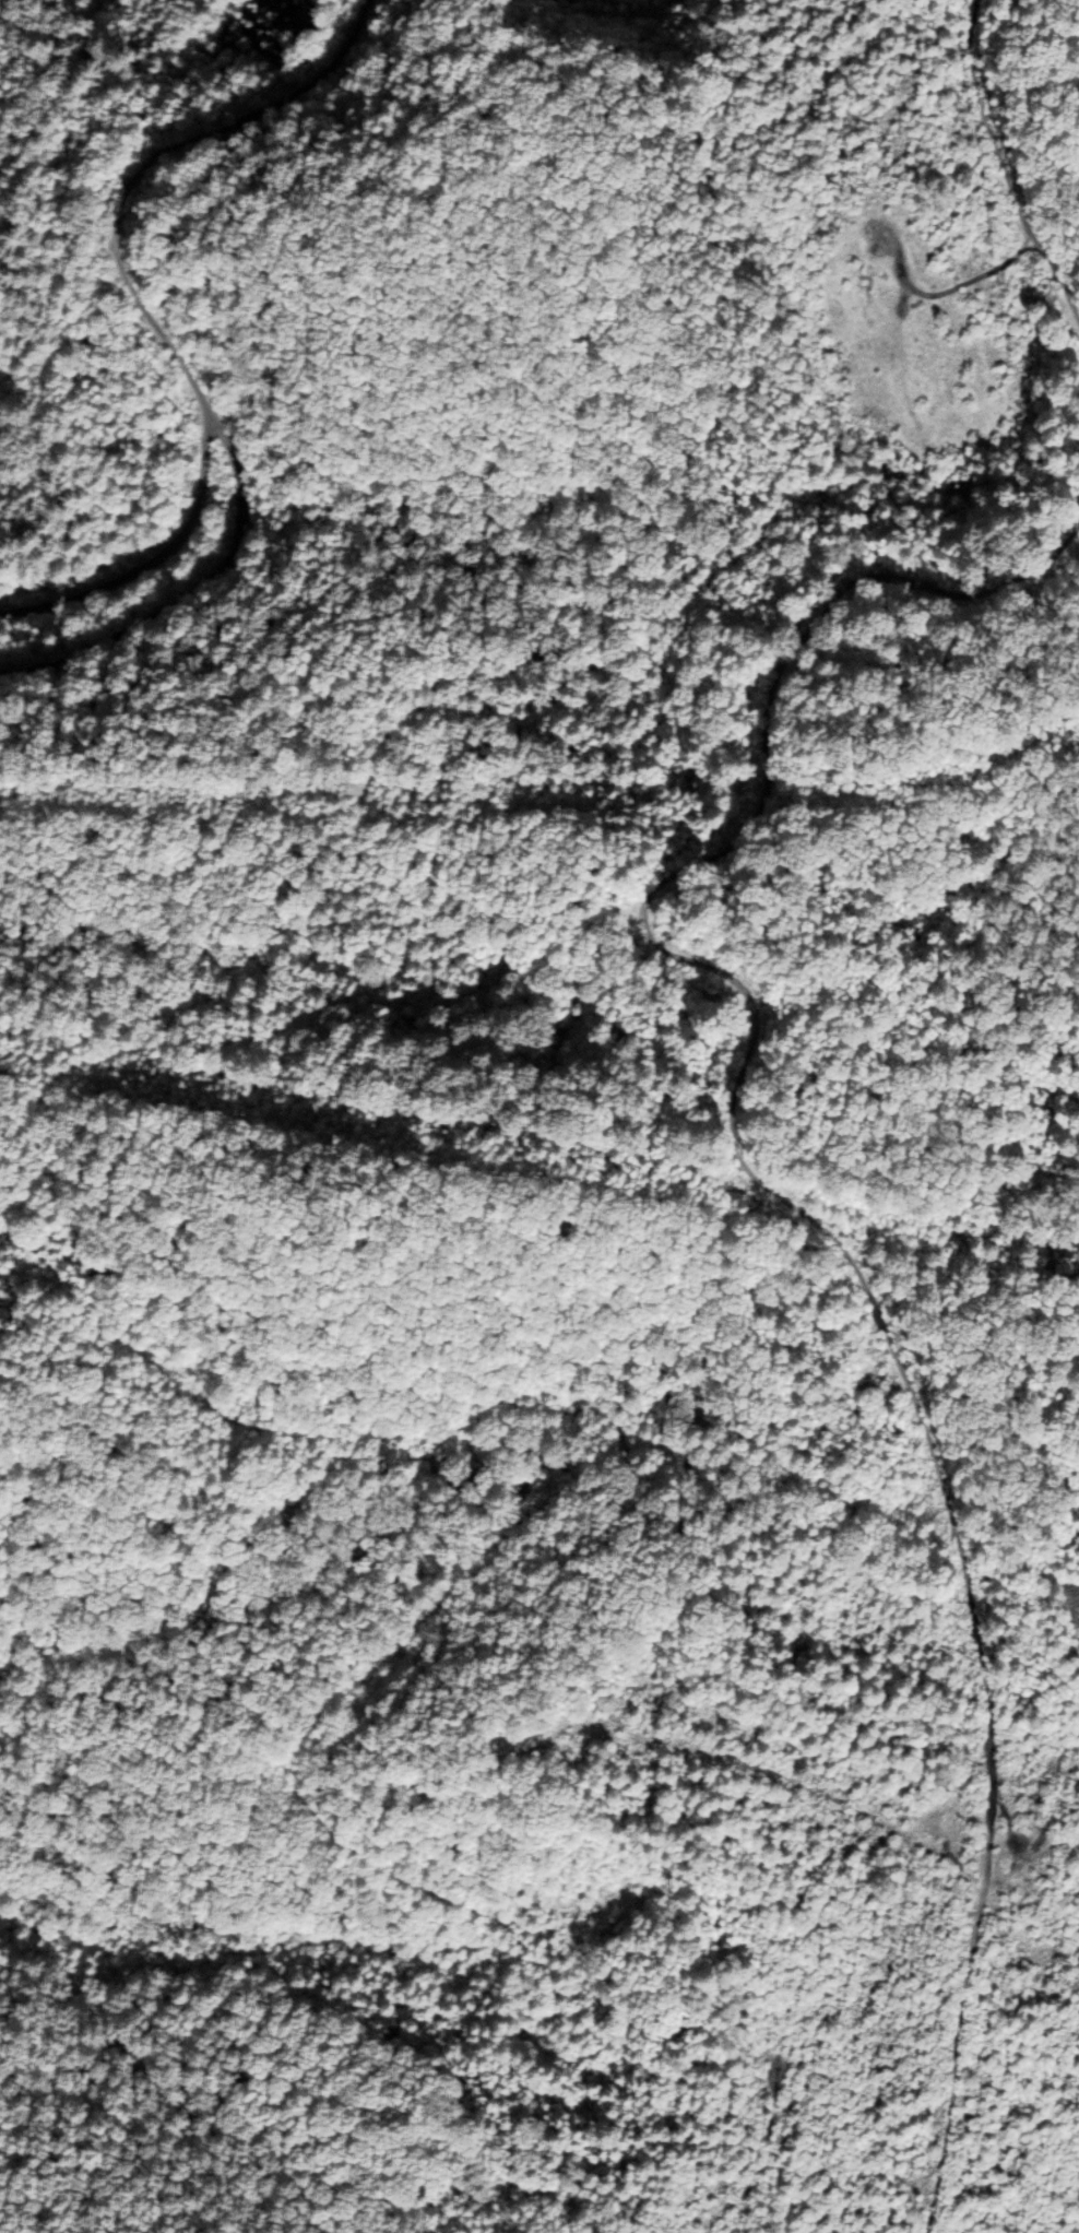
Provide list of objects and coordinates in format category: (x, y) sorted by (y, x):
road: (588, 3)
road: (135, 252)

